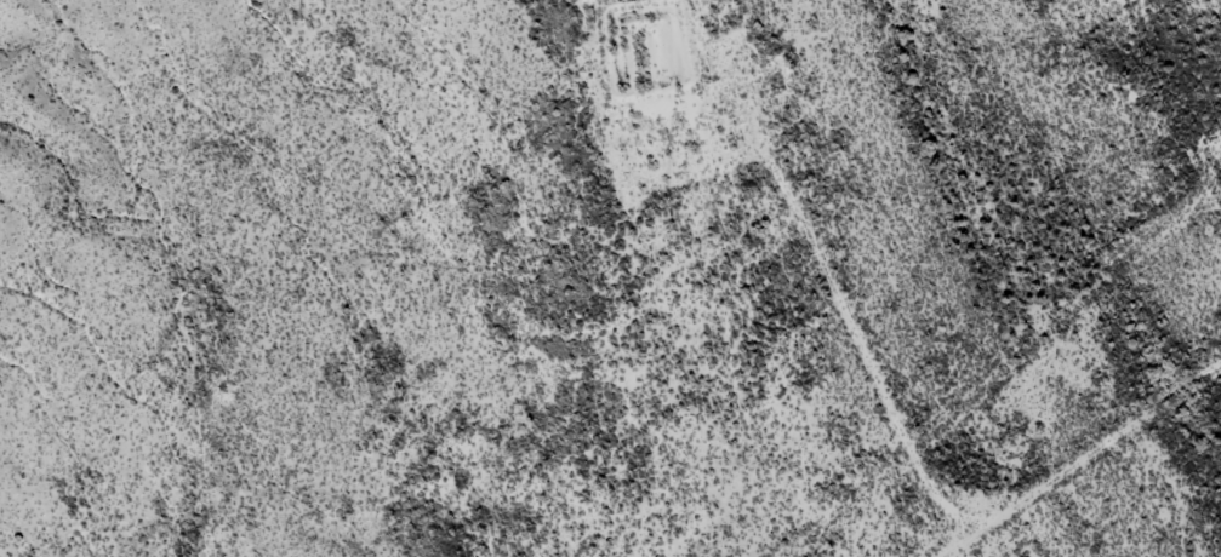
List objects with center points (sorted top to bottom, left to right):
road: (1103, 467)

